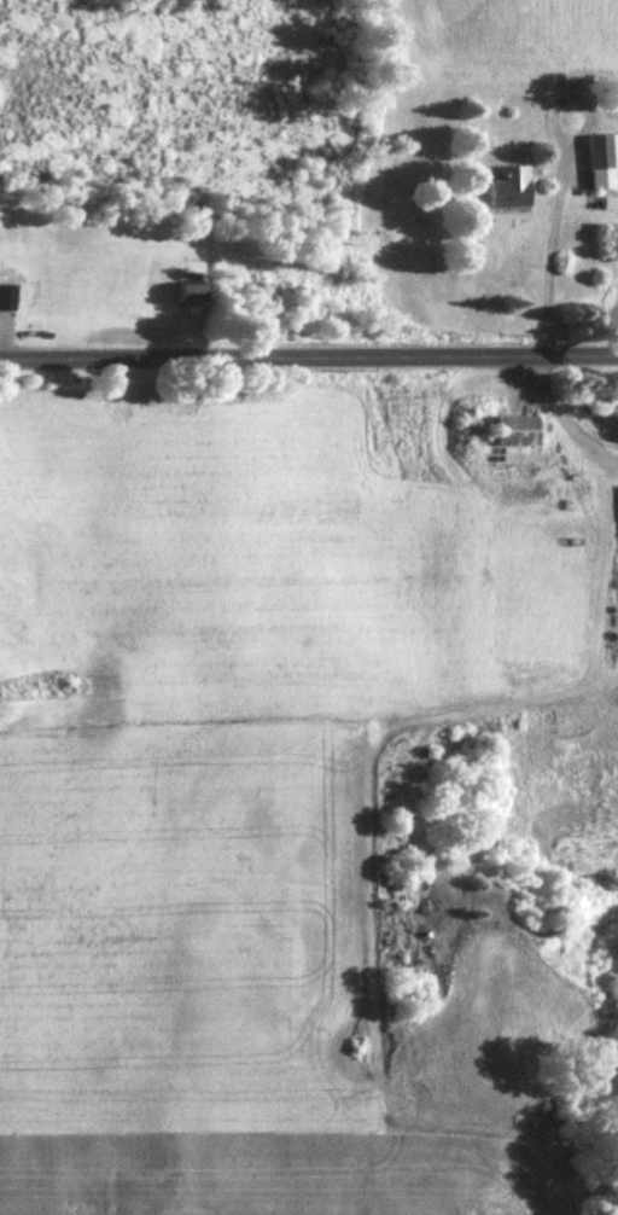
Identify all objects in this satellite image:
building: (600, 161)
building: (506, 190)
road: (543, 258)
building: (183, 293)
building: (4, 300)
road: (309, 356)
road: (559, 414)
building: (511, 432)
road: (372, 746)

